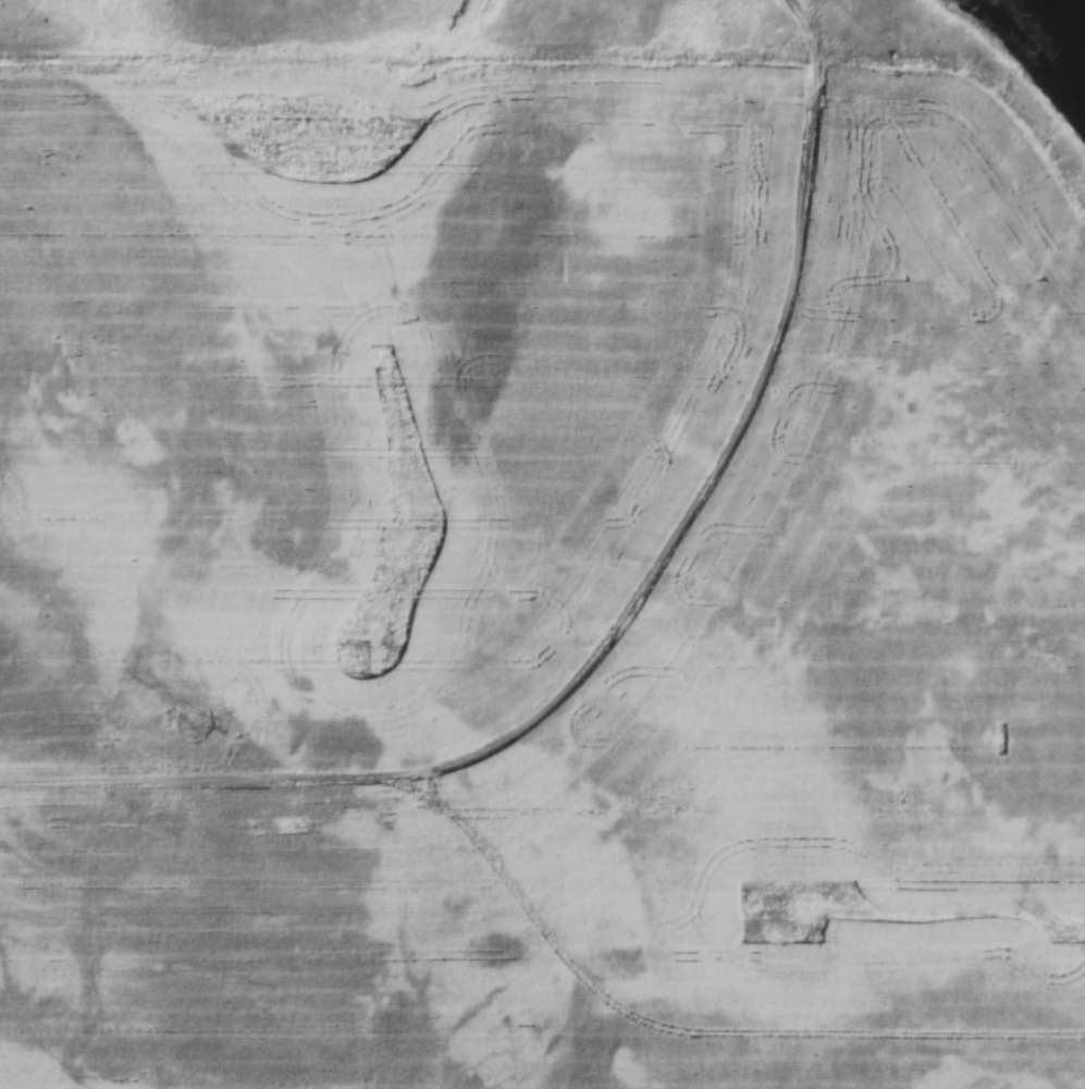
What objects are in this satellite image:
power tower: (193, 710)
power tower: (1062, 931)

